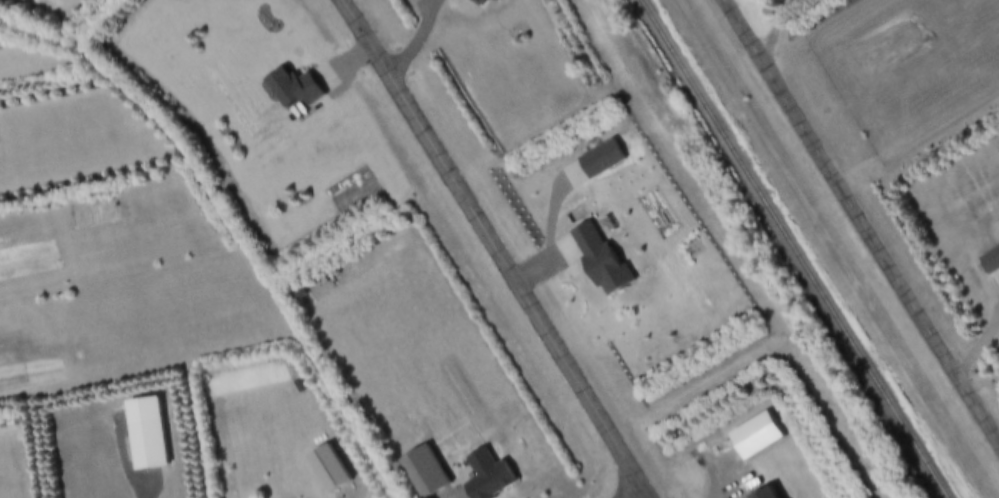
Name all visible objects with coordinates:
building: (478, 2)
road: (776, 29)
building: (296, 91)
road: (860, 224)
road: (496, 249)
railway: (783, 249)
building: (600, 261)
building: (991, 263)
road: (978, 352)
building: (753, 438)
building: (145, 446)
building: (421, 473)
building: (488, 483)
road: (149, 487)
building: (764, 494)
road: (647, 497)

